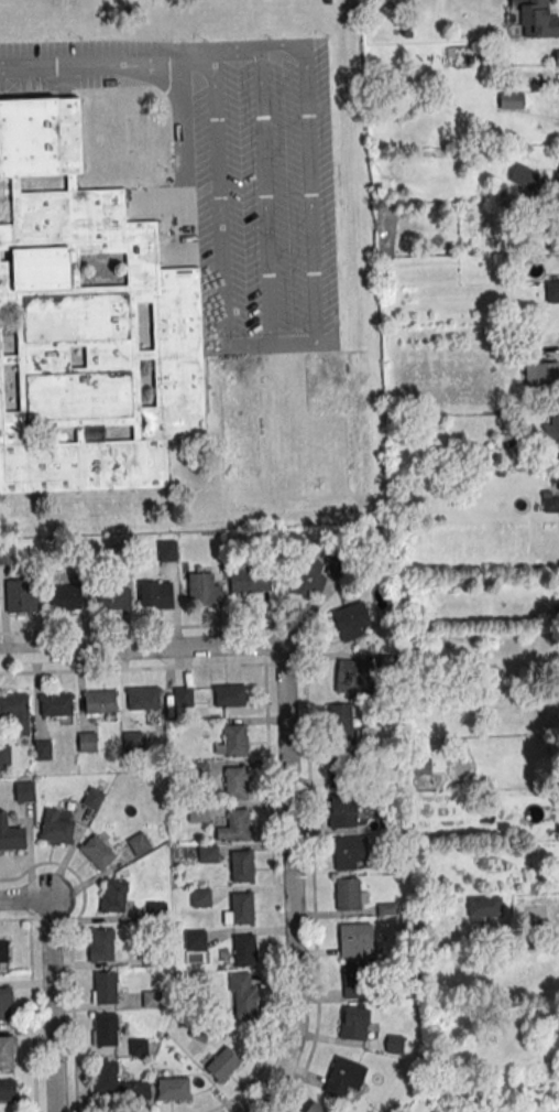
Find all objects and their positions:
building: (533, 18)
park: (175, 19)
building: (557, 57)
road: (268, 65)
building: (524, 176)
building: (551, 290)
building: (87, 323)
building: (547, 374)
building: (551, 438)
building: (552, 489)
building: (167, 550)
building: (9, 555)
building: (313, 572)
building: (251, 580)
building: (205, 589)
building: (155, 594)
building: (22, 595)
building: (65, 596)
building: (114, 597)
building: (352, 620)
road: (123, 629)
road: (141, 648)
road: (132, 669)
building: (353, 677)
building: (226, 695)
building: (144, 698)
building: (183, 698)
building: (100, 701)
building: (57, 706)
building: (15, 712)
building: (340, 723)
building: (88, 741)
building: (133, 741)
building: (233, 741)
building: (43, 751)
building: (4, 757)
building: (342, 774)
building: (235, 781)
building: (25, 791)
building: (342, 811)
building: (57, 825)
building: (234, 825)
building: (11, 834)
building: (139, 844)
building: (98, 852)
building: (350, 852)
building: (207, 853)
building: (241, 866)
road: (293, 886)
building: (113, 895)
building: (350, 895)
building: (200, 897)
road: (20, 899)
building: (240, 907)
building: (484, 907)
building: (534, 913)
building: (355, 938)
building: (195, 940)
building: (101, 944)
building: (244, 950)
building: (3, 951)
building: (357, 981)
building: (105, 986)
building: (243, 995)
building: (152, 998)
building: (6, 1003)
road: (53, 1004)
building: (354, 1023)
building: (105, 1029)
building: (395, 1045)
building: (7, 1052)
building: (222, 1064)
building: (344, 1077)
building: (116, 1083)
building: (173, 1088)
building: (8, 1090)
building: (315, 1108)

